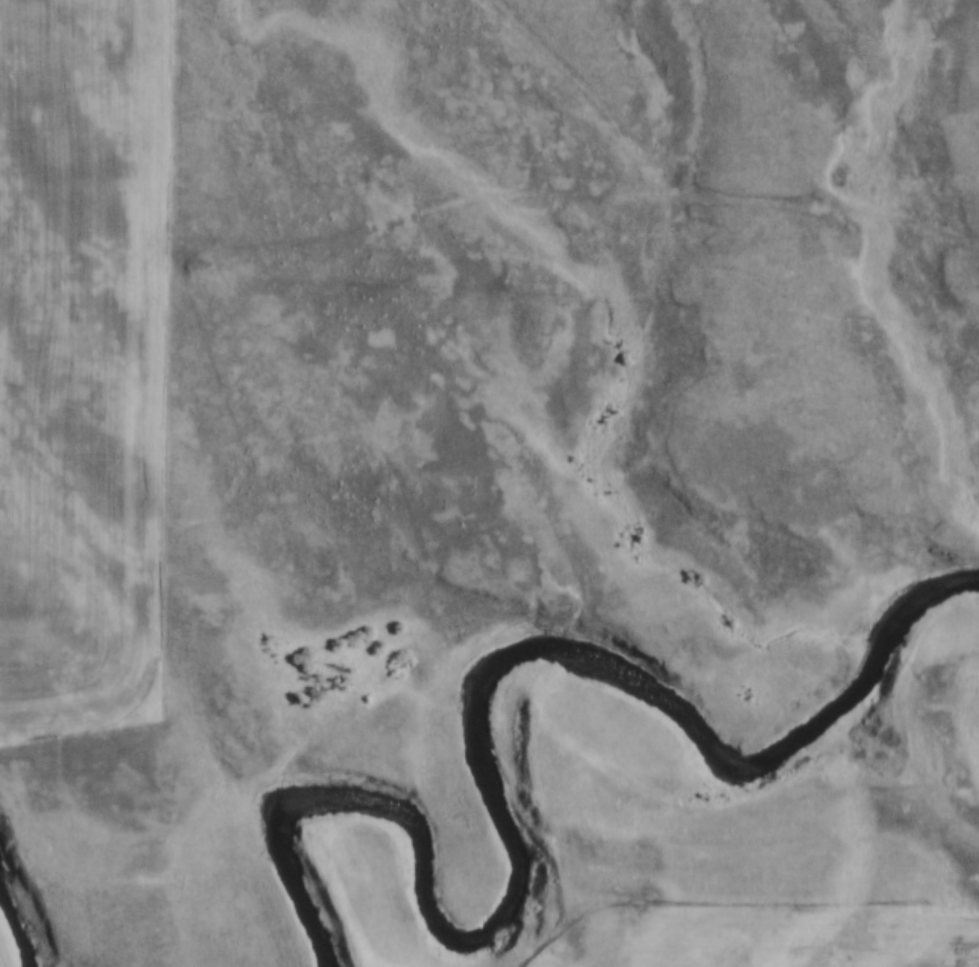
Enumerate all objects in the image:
crop: (76, 360)

